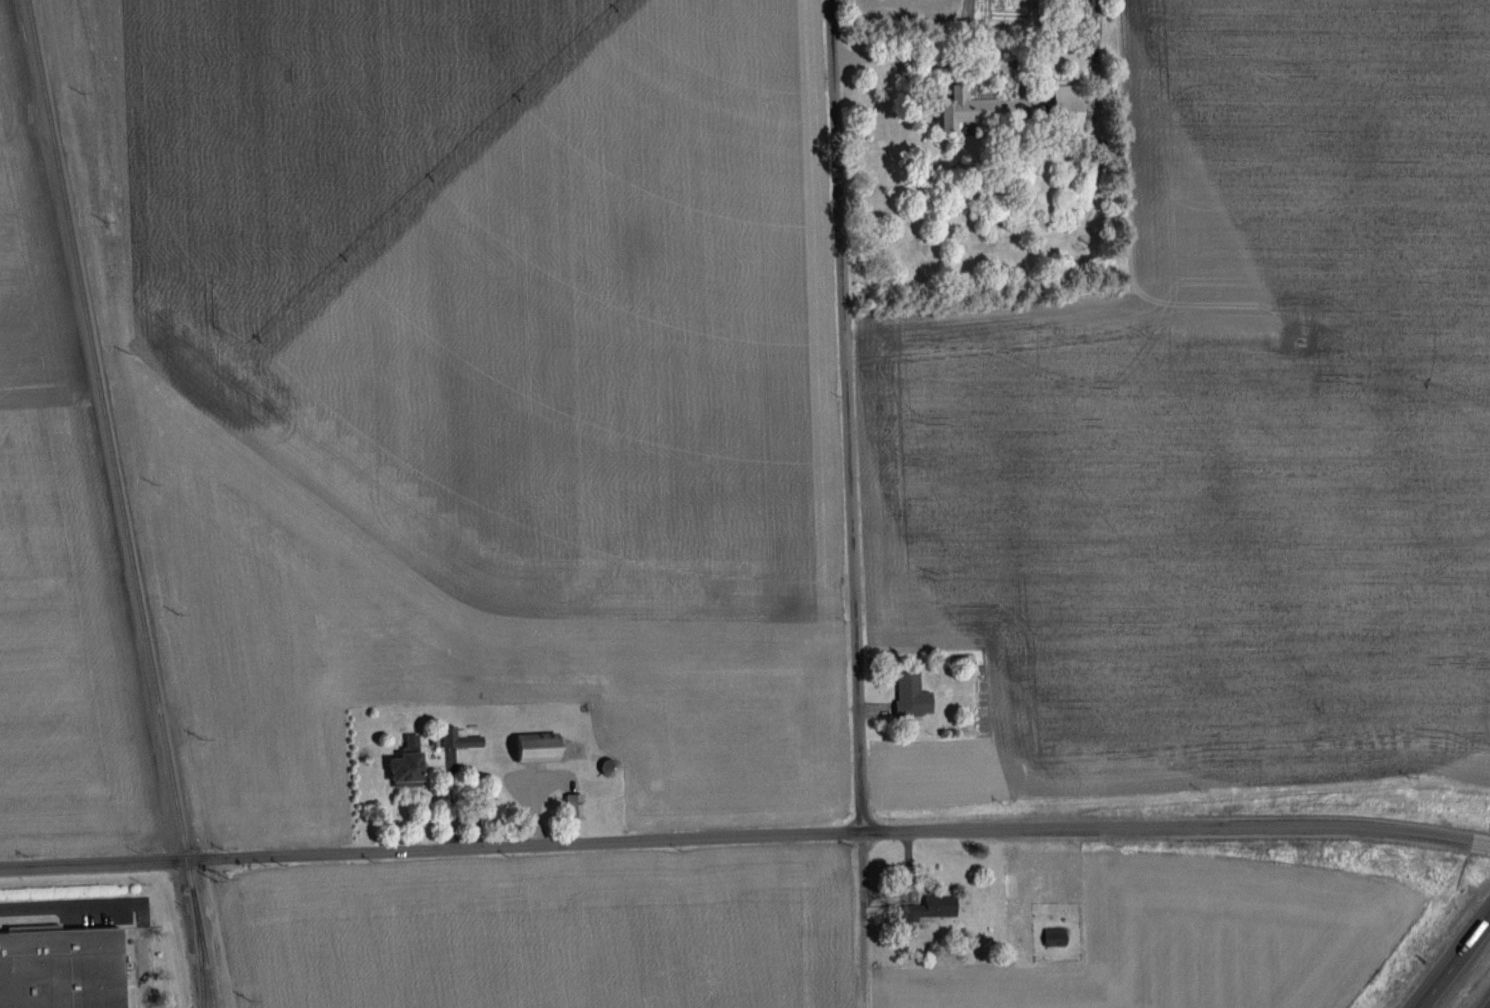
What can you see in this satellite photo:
road: (946, 52)
building: (1064, 107)
building: (961, 111)
road: (848, 416)
railway: (121, 503)
building: (910, 697)
building: (448, 735)
building: (532, 750)
building: (403, 765)
road: (736, 837)
road: (1481, 845)
road: (69, 904)
building: (932, 908)
road: (864, 919)
road: (1454, 962)
railway: (202, 963)
building: (60, 968)
road: (1489, 1007)

